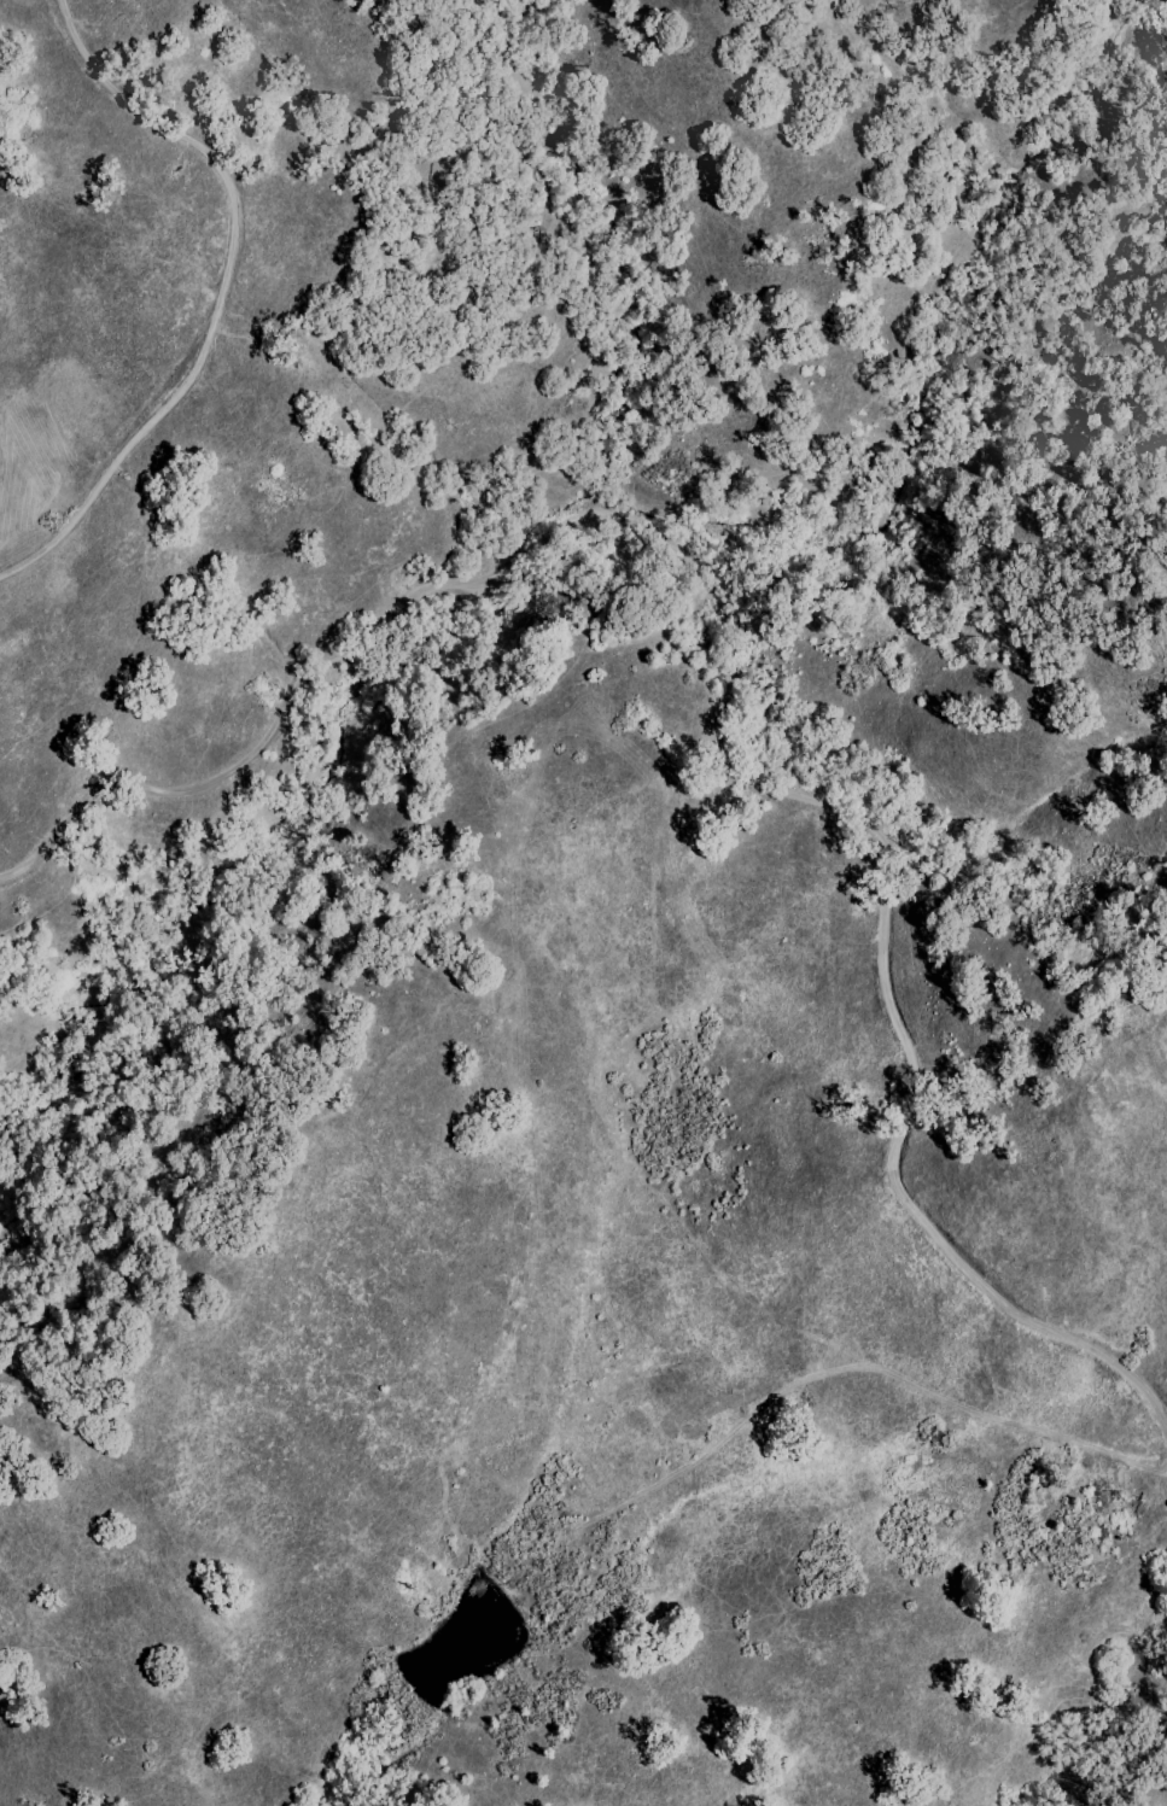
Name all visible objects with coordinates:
road: (221, 290)
road: (454, 580)
road: (366, 1074)

